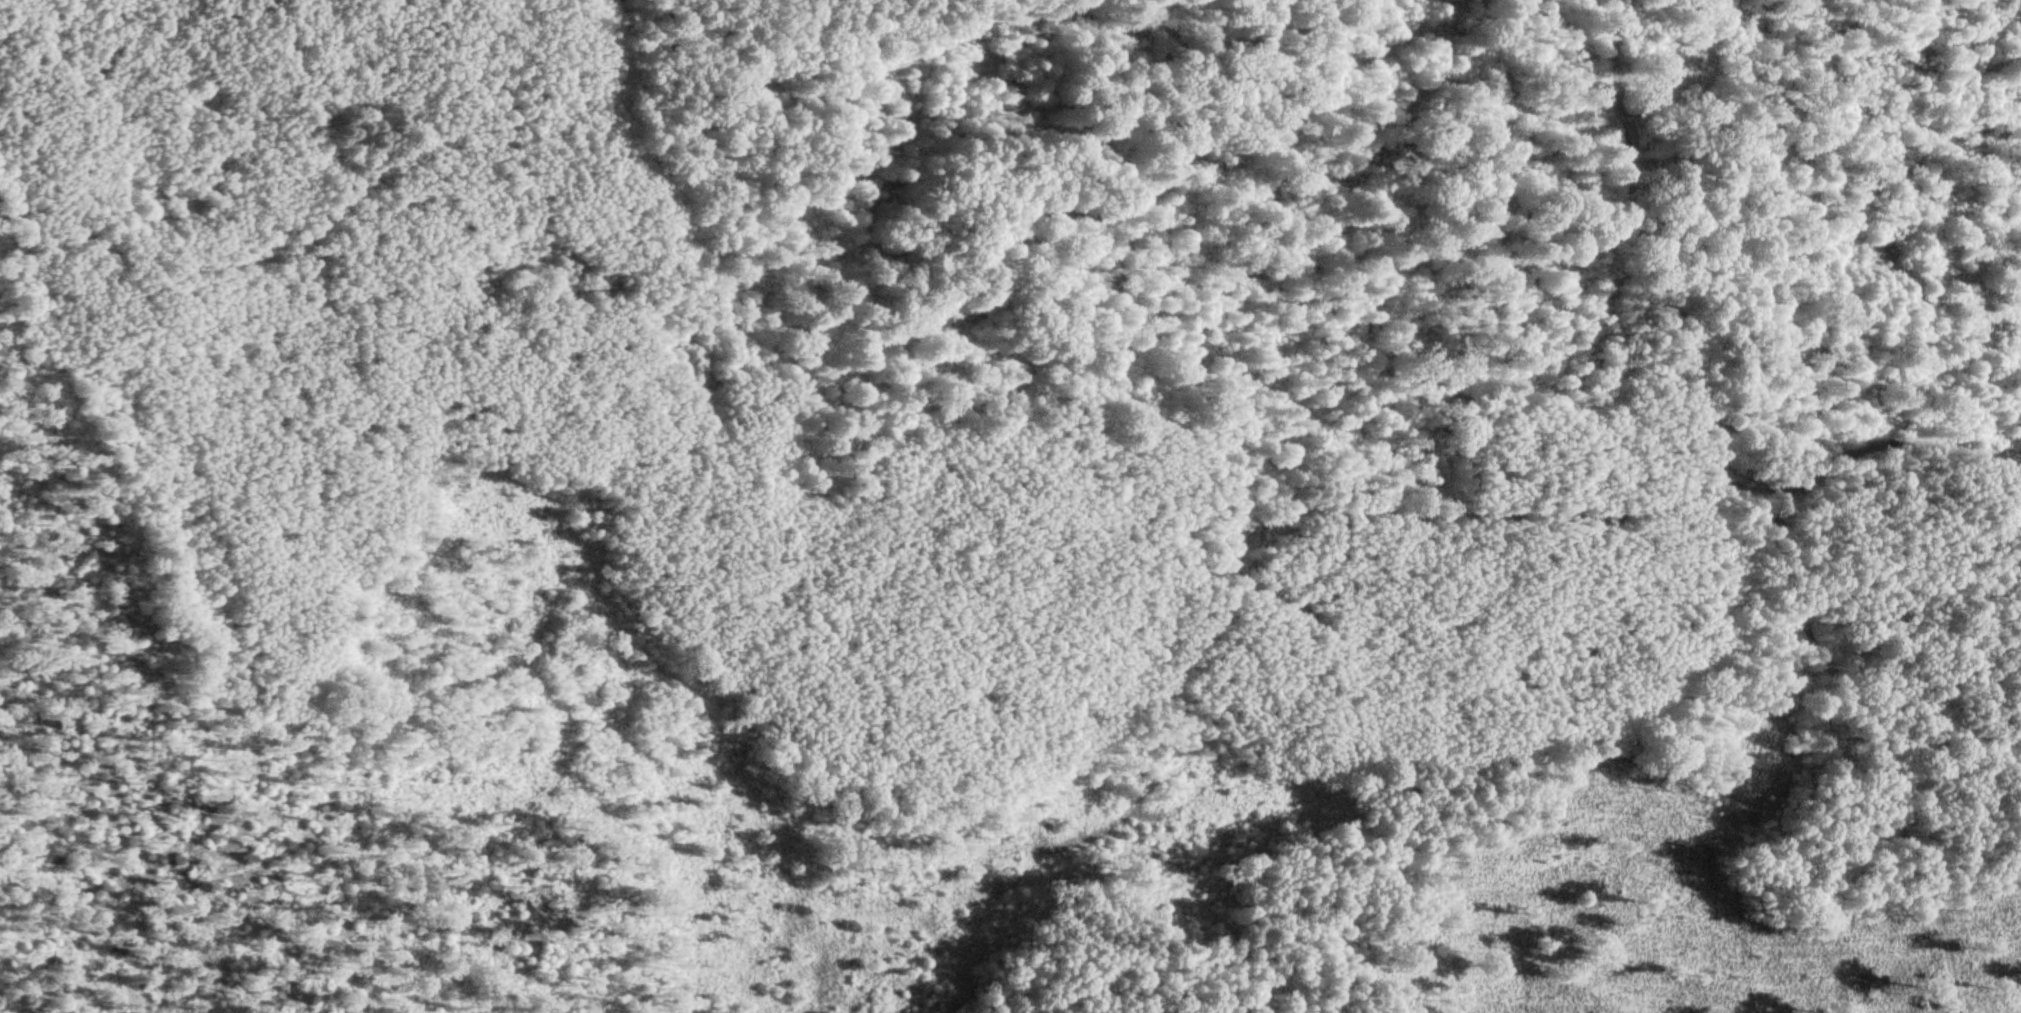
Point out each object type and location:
road: (1639, 250)
road: (1804, 612)

